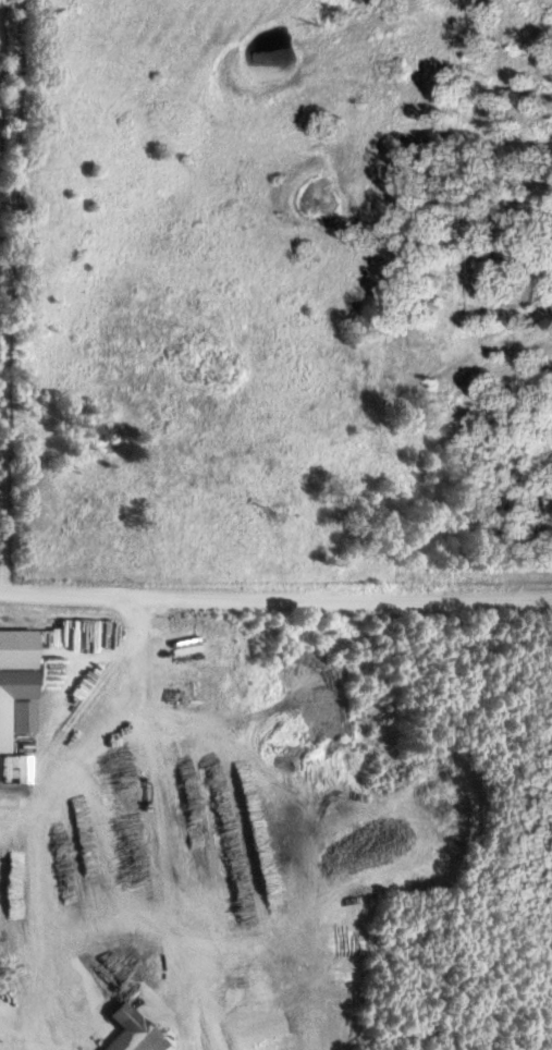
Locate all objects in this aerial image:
road: (275, 597)
building: (15, 683)
building: (20, 768)
building: (139, 1030)

